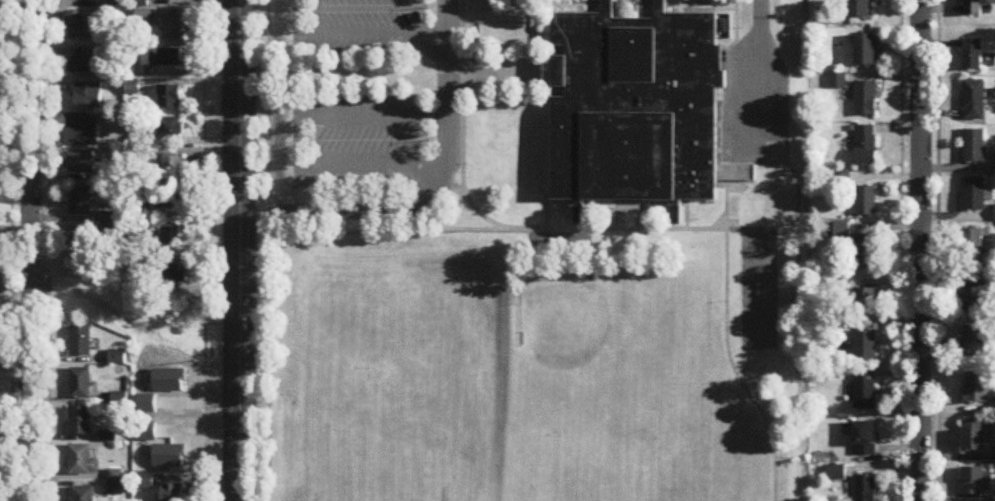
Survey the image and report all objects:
building: (974, 7)
building: (861, 8)
road: (759, 12)
building: (143, 18)
building: (80, 27)
building: (172, 29)
road: (358, 33)
building: (865, 50)
building: (973, 55)
building: (162, 59)
building: (84, 65)
building: (86, 95)
building: (169, 97)
building: (865, 99)
building: (974, 101)
building: (80, 130)
building: (172, 132)
road: (298, 139)
building: (866, 146)
building: (974, 146)
building: (80, 162)
building: (171, 167)
building: (973, 195)
building: (169, 197)
road: (437, 201)
building: (80, 202)
road: (457, 202)
building: (865, 202)
road: (479, 213)
road: (937, 216)
road: (584, 228)
building: (170, 239)
building: (974, 246)
building: (81, 247)
road: (10, 250)
road: (28, 250)
road: (47, 250)
road: (203, 250)
road: (238, 250)
road: (267, 250)
road: (899, 250)
road: (919, 250)
building: (865, 251)
building: (172, 276)
park: (758, 288)
building: (974, 293)
building: (865, 302)
building: (80, 341)
building: (976, 342)
building: (865, 346)
road: (733, 369)
building: (80, 384)
building: (975, 388)
building: (864, 390)
building: (80, 421)
building: (974, 436)
building: (864, 439)
building: (169, 457)
building: (82, 461)
road: (937, 467)
building: (836, 473)
building: (972, 482)
building: (865, 488)
building: (172, 492)
building: (82, 494)

